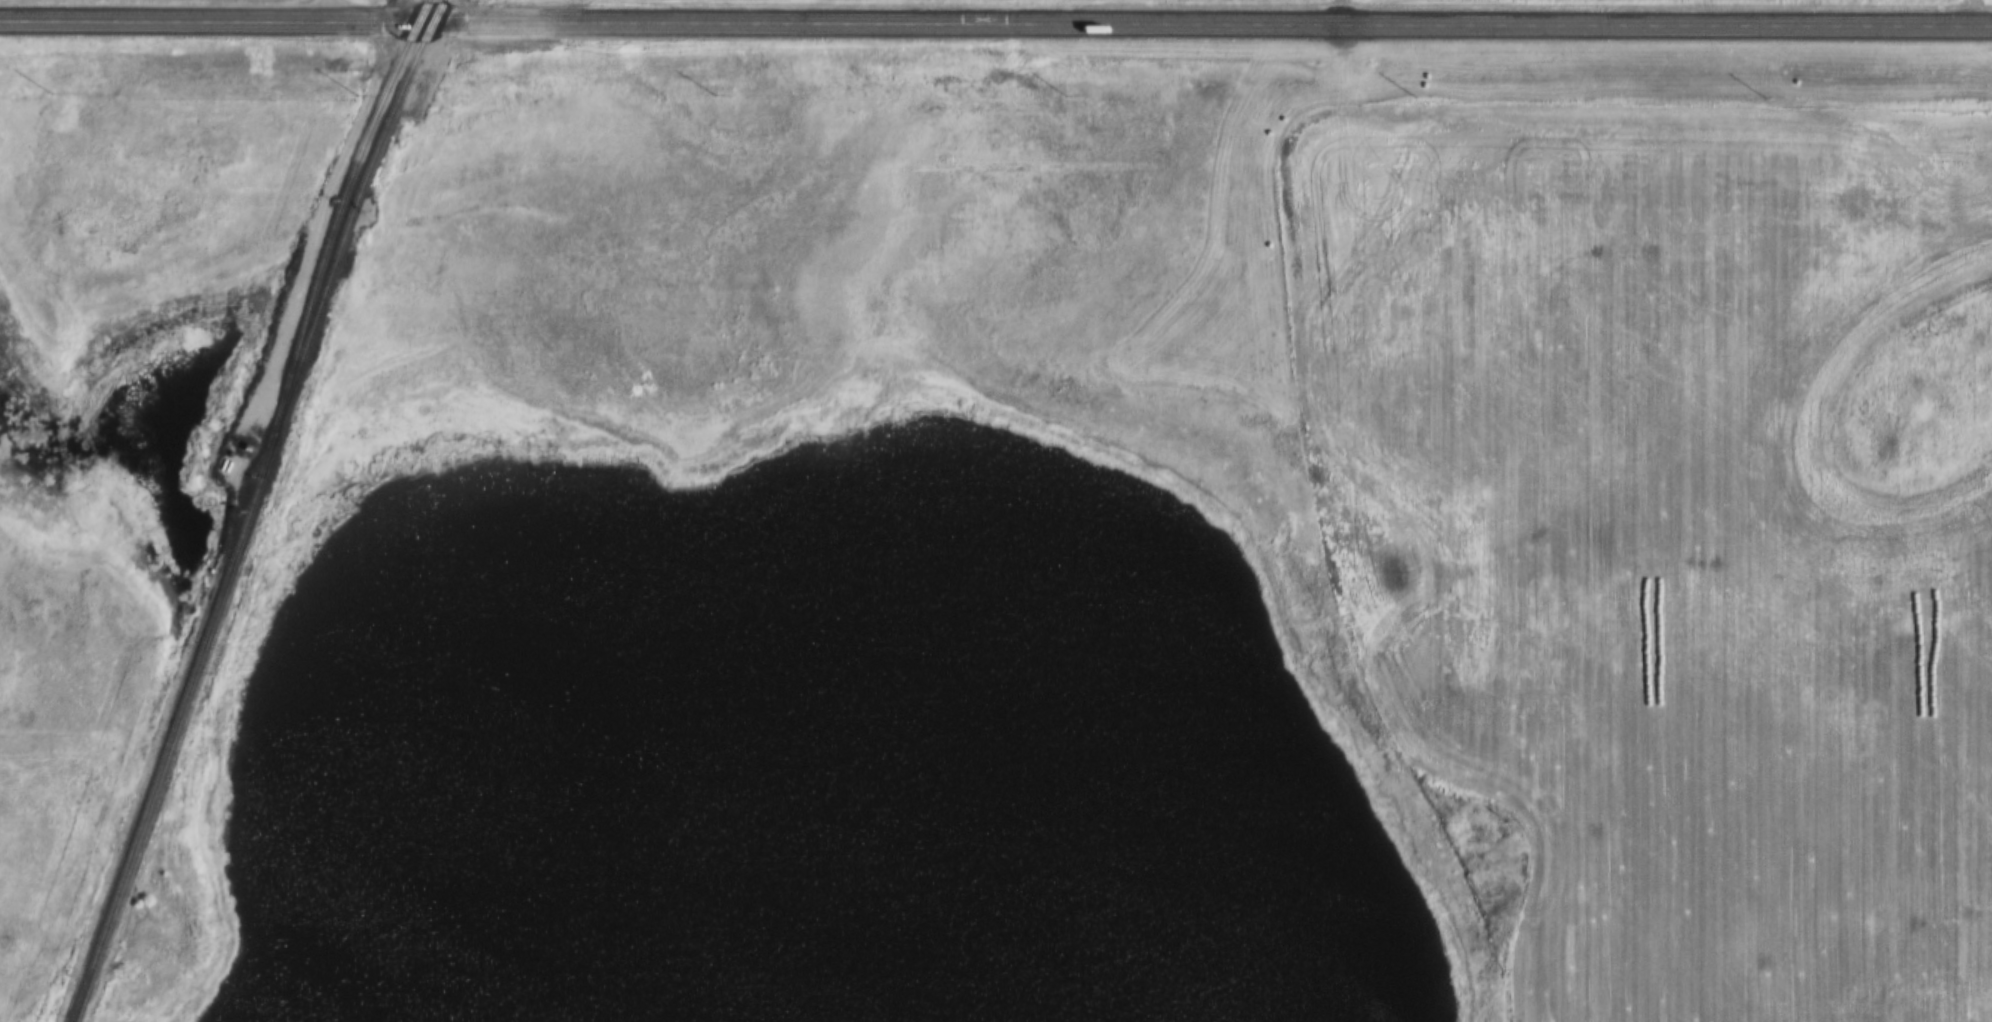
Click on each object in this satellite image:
road: (995, 22)
railway: (248, 507)

